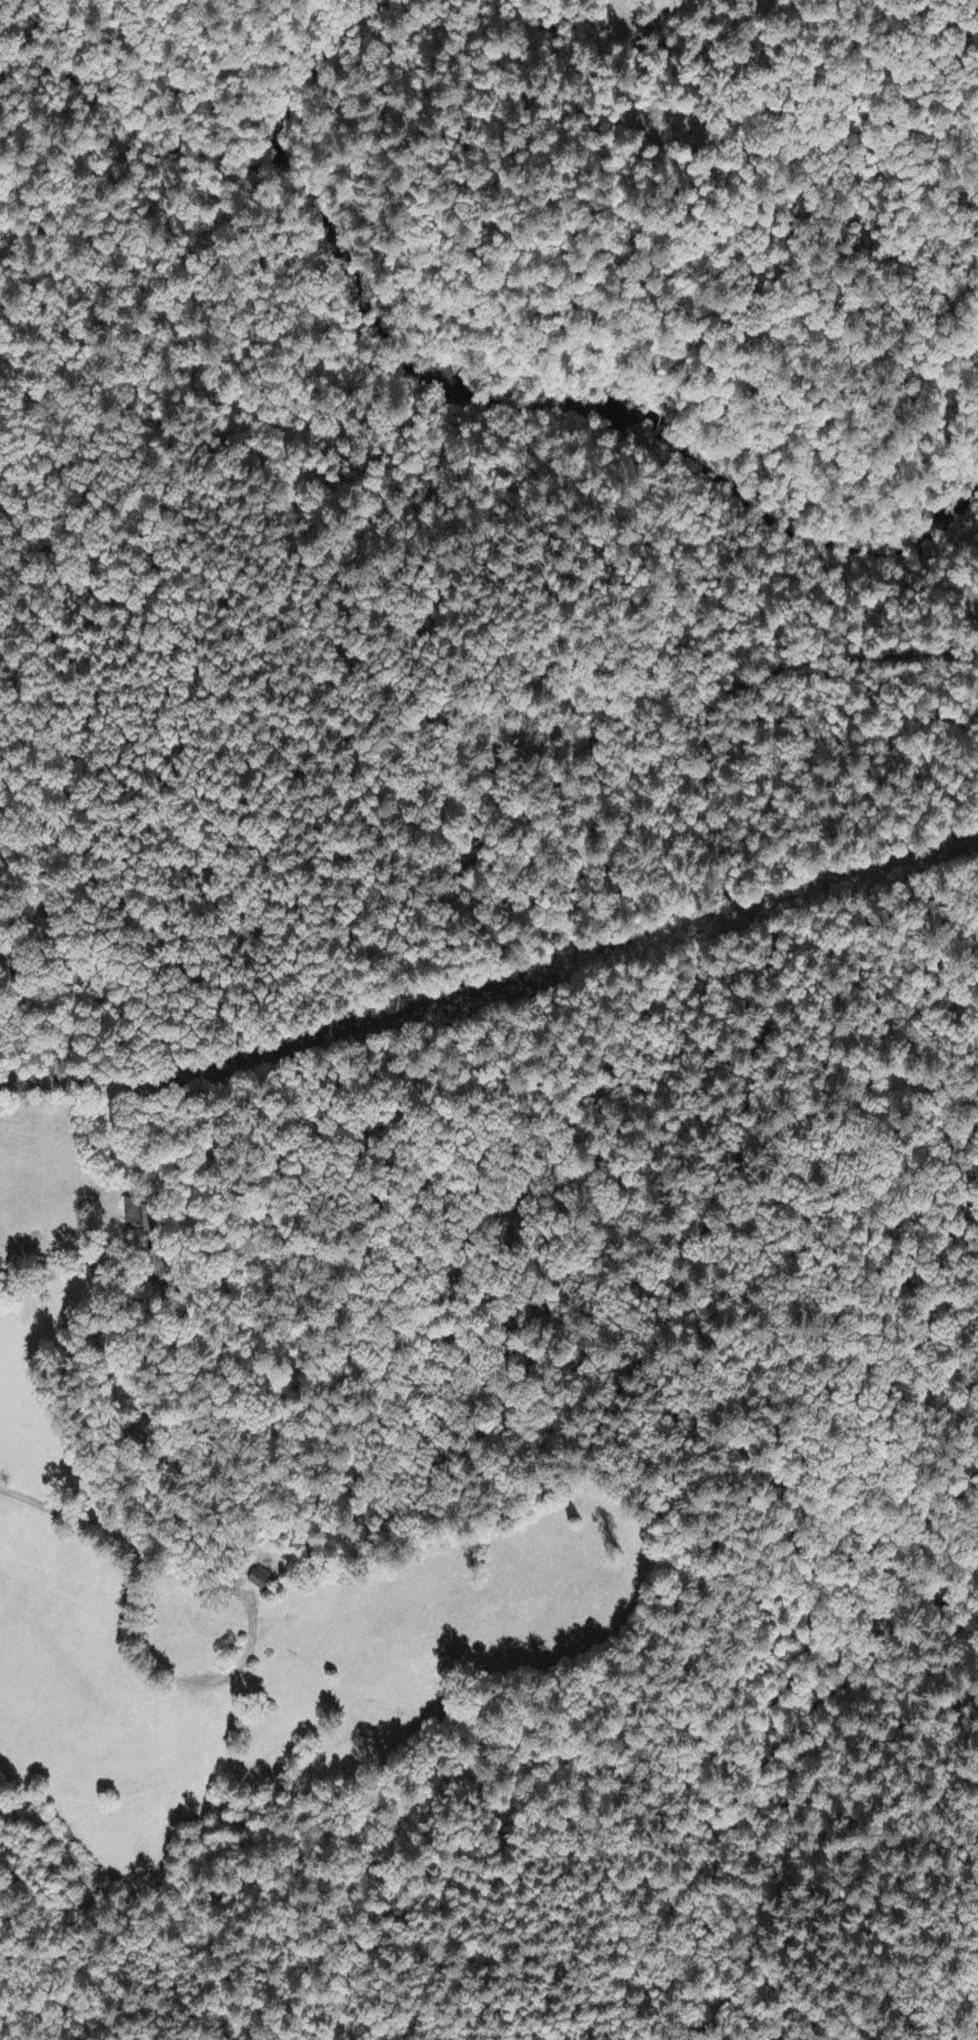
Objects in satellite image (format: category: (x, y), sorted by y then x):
building: (142, 1220)
road: (148, 1585)
road: (17, 2005)

